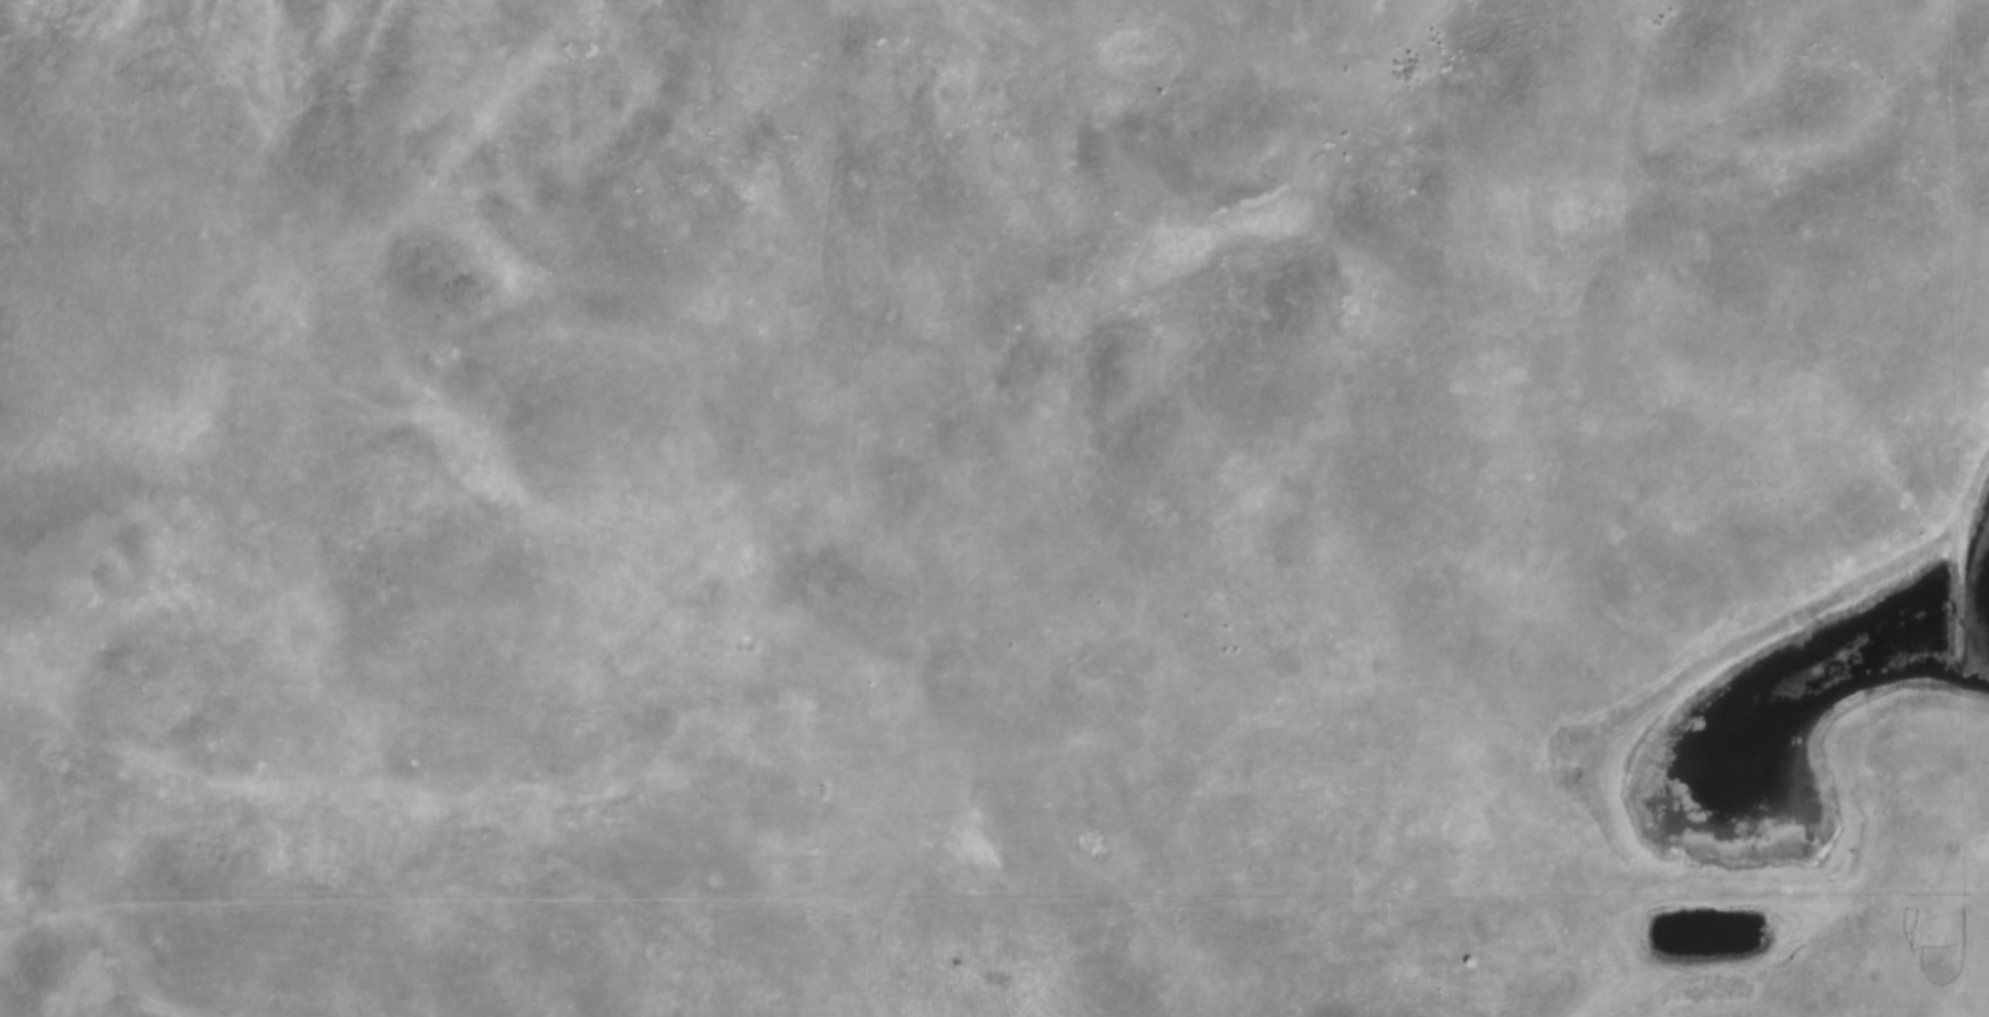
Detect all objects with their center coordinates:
road: (1900, 993)

